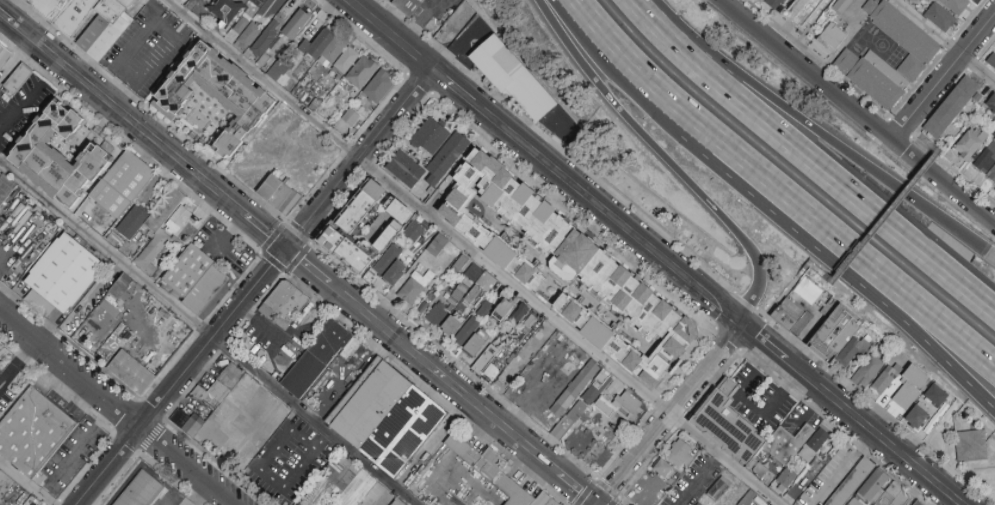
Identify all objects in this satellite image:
building: (196, 0)
building: (759, 0)
building: (762, 0)
building: (774, 3)
building: (956, 6)
building: (408, 7)
building: (226, 10)
building: (846, 10)
building: (801, 11)
building: (940, 17)
building: (295, 25)
building: (105, 29)
building: (245, 31)
building: (263, 38)
road: (947, 39)
building: (828, 41)
building: (994, 42)
parking lot: (149, 48)
building: (331, 52)
building: (5, 53)
road: (125, 57)
building: (919, 58)
road: (631, 59)
building: (991, 61)
building: (362, 72)
building: (283, 73)
building: (510, 77)
building: (20, 78)
road: (944, 78)
building: (379, 86)
building: (215, 94)
building: (0, 97)
building: (991, 103)
building: (951, 107)
road: (21, 108)
road: (860, 111)
building: (352, 114)
building: (285, 120)
road: (900, 126)
road: (920, 127)
road: (143, 130)
road: (814, 132)
road: (918, 133)
road: (912, 135)
building: (993, 135)
building: (431, 136)
building: (321, 144)
building: (970, 144)
building: (310, 156)
building: (58, 157)
road: (357, 157)
building: (252, 158)
building: (446, 158)
building: (986, 158)
road: (667, 162)
road: (807, 162)
road: (756, 170)
building: (991, 174)
building: (127, 184)
building: (273, 185)
building: (6, 188)
building: (993, 188)
building: (291, 196)
building: (167, 208)
building: (387, 211)
building: (412, 211)
road: (878, 211)
building: (408, 220)
building: (131, 224)
building: (157, 242)
road: (475, 251)
road: (653, 254)
road: (991, 256)
road: (1, 257)
building: (441, 257)
building: (379, 260)
building: (477, 269)
building: (578, 269)
building: (68, 271)
building: (400, 271)
building: (488, 277)
building: (198, 279)
building: (418, 284)
building: (810, 285)
building: (499, 286)
building: (121, 288)
building: (459, 295)
road: (909, 297)
building: (431, 299)
road: (745, 300)
building: (290, 301)
building: (470, 302)
building: (489, 302)
road: (768, 302)
building: (507, 306)
building: (787, 313)
building: (534, 318)
road: (908, 318)
building: (545, 325)
road: (258, 327)
building: (450, 329)
road: (208, 333)
building: (468, 335)
building: (483, 338)
building: (838, 338)
building: (1, 350)
building: (493, 352)
building: (320, 358)
building: (506, 359)
road: (758, 360)
road: (17, 361)
building: (867, 371)
building: (134, 372)
road: (185, 377)
road: (442, 377)
building: (884, 380)
building: (726, 386)
building: (579, 388)
building: (909, 388)
building: (936, 395)
parking lot: (758, 400)
building: (627, 401)
road: (754, 403)
building: (205, 404)
building: (585, 404)
road: (874, 405)
building: (609, 407)
road: (118, 408)
building: (597, 414)
road: (667, 414)
building: (916, 416)
building: (394, 418)
building: (725, 427)
building: (36, 431)
road: (80, 440)
building: (222, 441)
building: (970, 445)
building: (781, 449)
building: (680, 454)
building: (662, 469)
building: (1, 471)
building: (493, 471)
road: (264, 477)
building: (785, 481)
road: (27, 482)
building: (850, 483)
building: (10, 487)
building: (869, 488)
building: (360, 489)
building: (719, 489)
building: (141, 490)
building: (324, 493)
building: (743, 496)
building: (892, 496)
building: (543, 499)
building: (401, 502)
building: (911, 502)
building: (916, 503)

